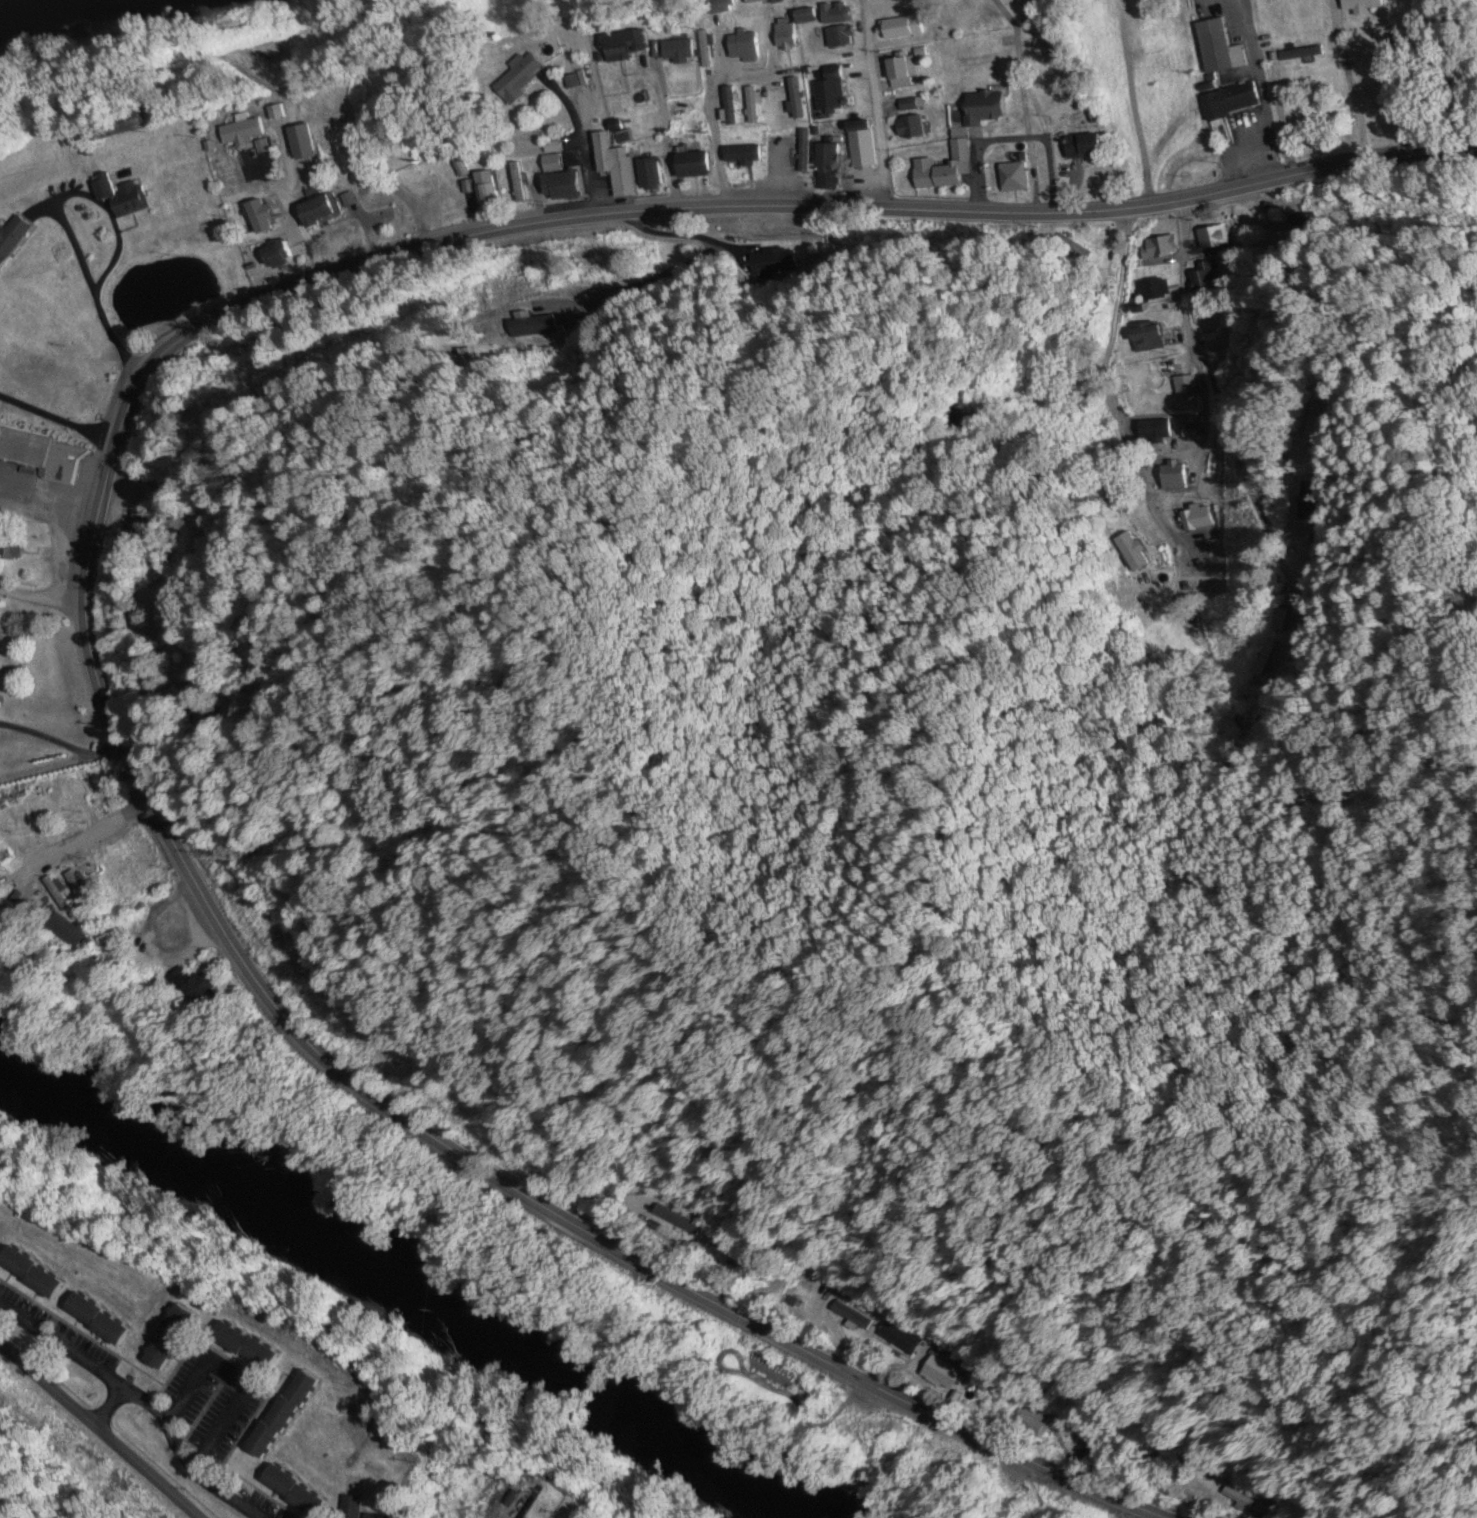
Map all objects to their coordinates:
building: (1361, 6)
river: (52, 14)
building: (835, 14)
building: (805, 16)
building: (901, 28)
building: (785, 37)
building: (839, 37)
building: (620, 46)
building: (743, 47)
building: (1218, 48)
building: (703, 50)
building: (676, 52)
building: (898, 73)
road: (1349, 80)
building: (829, 92)
road: (1212, 94)
building: (795, 99)
building: (613, 101)
building: (1230, 102)
road: (875, 105)
building: (729, 106)
building: (751, 106)
building: (907, 106)
building: (983, 109)
building: (909, 128)
building: (243, 131)
road: (650, 140)
building: (300, 142)
building: (860, 145)
road: (1055, 145)
building: (1083, 147)
building: (802, 152)
road: (589, 154)
building: (740, 156)
building: (827, 159)
building: (550, 163)
building: (614, 165)
building: (692, 165)
building: (458, 166)
building: (943, 169)
building: (649, 174)
building: (1012, 177)
building: (516, 183)
building: (559, 186)
building: (487, 190)
building: (120, 198)
building: (317, 211)
building: (259, 216)
building: (12, 238)
building: (1212, 238)
building: (1158, 247)
building: (275, 256)
road: (109, 262)
building: (1203, 279)
building: (1153, 289)
road: (1183, 319)
building: (526, 328)
building: (1147, 338)
building: (1185, 388)
road: (56, 422)
building: (1190, 431)
building: (42, 456)
building: (1173, 477)
building: (1310, 501)
building: (1195, 519)
building: (132, 527)
building: (205, 535)
road: (90, 537)
building: (10, 549)
building: (1280, 620)
building: (200, 718)
road: (60, 749)
building: (91, 794)
building: (12, 818)
building: (43, 821)
road: (82, 839)
building: (76, 885)
building: (193, 989)
building: (677, 1220)
building: (725, 1250)
building: (29, 1274)
river: (390, 1300)
building: (850, 1317)
building: (96, 1320)
road: (14, 1337)
building: (167, 1339)
building: (899, 1339)
building: (246, 1349)
building: (941, 1373)
road: (192, 1387)
building: (281, 1416)
building: (1030, 1425)
road: (98, 1432)
building: (1082, 1450)
building: (293, 1492)
building: (1238, 1498)
building: (375, 1517)

